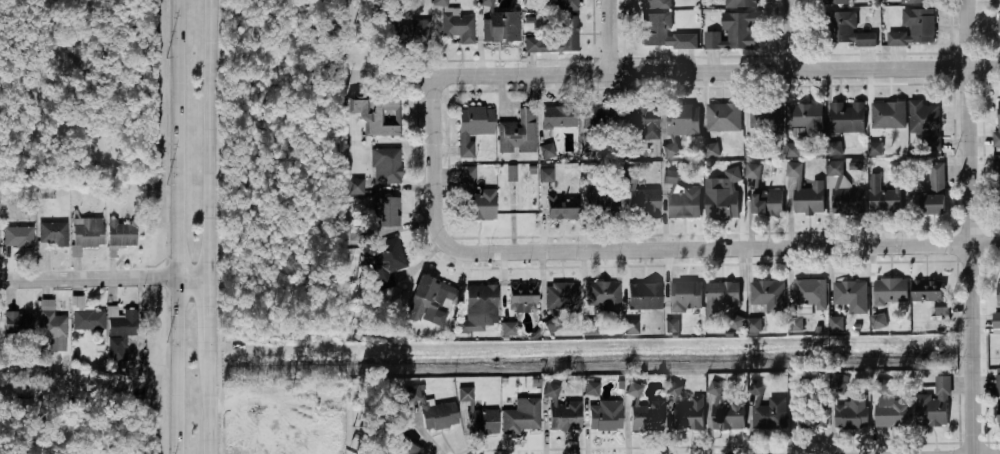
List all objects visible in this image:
building: (918, 2)
building: (835, 3)
building: (655, 4)
building: (740, 4)
building: (565, 5)
building: (455, 23)
building: (489, 23)
building: (999, 25)
building: (509, 27)
building: (915, 28)
building: (417, 31)
building: (845, 31)
building: (733, 33)
building: (663, 34)
road: (795, 34)
road: (613, 36)
building: (557, 38)
road: (84, 64)
road: (674, 71)
building: (377, 115)
building: (599, 116)
building: (847, 116)
building: (887, 116)
building: (558, 117)
building: (766, 117)
building: (723, 118)
building: (806, 118)
building: (682, 120)
building: (642, 121)
building: (924, 123)
building: (998, 124)
building: (472, 126)
building: (517, 134)
road: (437, 137)
road: (211, 138)
building: (835, 148)
building: (876, 149)
building: (547, 150)
building: (712, 150)
building: (751, 150)
building: (794, 150)
building: (386, 166)
building: (996, 170)
building: (752, 171)
building: (512, 173)
building: (833, 173)
building: (547, 175)
building: (358, 186)
building: (934, 192)
building: (806, 193)
building: (722, 196)
building: (474, 198)
building: (681, 198)
building: (884, 198)
building: (997, 198)
building: (849, 201)
building: (643, 203)
building: (767, 203)
building: (605, 204)
building: (562, 207)
building: (386, 210)
road: (178, 226)
road: (972, 227)
building: (54, 233)
building: (88, 233)
building: (121, 233)
building: (18, 236)
road: (699, 249)
building: (387, 260)
road: (104, 276)
building: (889, 292)
building: (809, 293)
building: (931, 295)
building: (603, 296)
building: (643, 296)
building: (685, 296)
building: (768, 296)
building: (850, 296)
building: (722, 297)
building: (522, 298)
building: (561, 298)
building: (430, 302)
building: (479, 305)
road: (209, 313)
building: (84, 317)
building: (18, 321)
building: (736, 322)
building: (837, 323)
building: (996, 323)
building: (796, 324)
building: (755, 325)
building: (53, 326)
building: (631, 326)
building: (673, 326)
building: (590, 327)
building: (509, 328)
building: (119, 331)
building: (839, 384)
building: (882, 386)
building: (592, 388)
building: (998, 397)
road: (208, 402)
building: (934, 406)
building: (688, 413)
building: (772, 413)
building: (893, 413)
building: (729, 414)
building: (852, 414)
building: (565, 415)
building: (605, 415)
building: (811, 415)
building: (439, 416)
building: (522, 416)
building: (646, 416)
building: (481, 422)
building: (403, 447)

